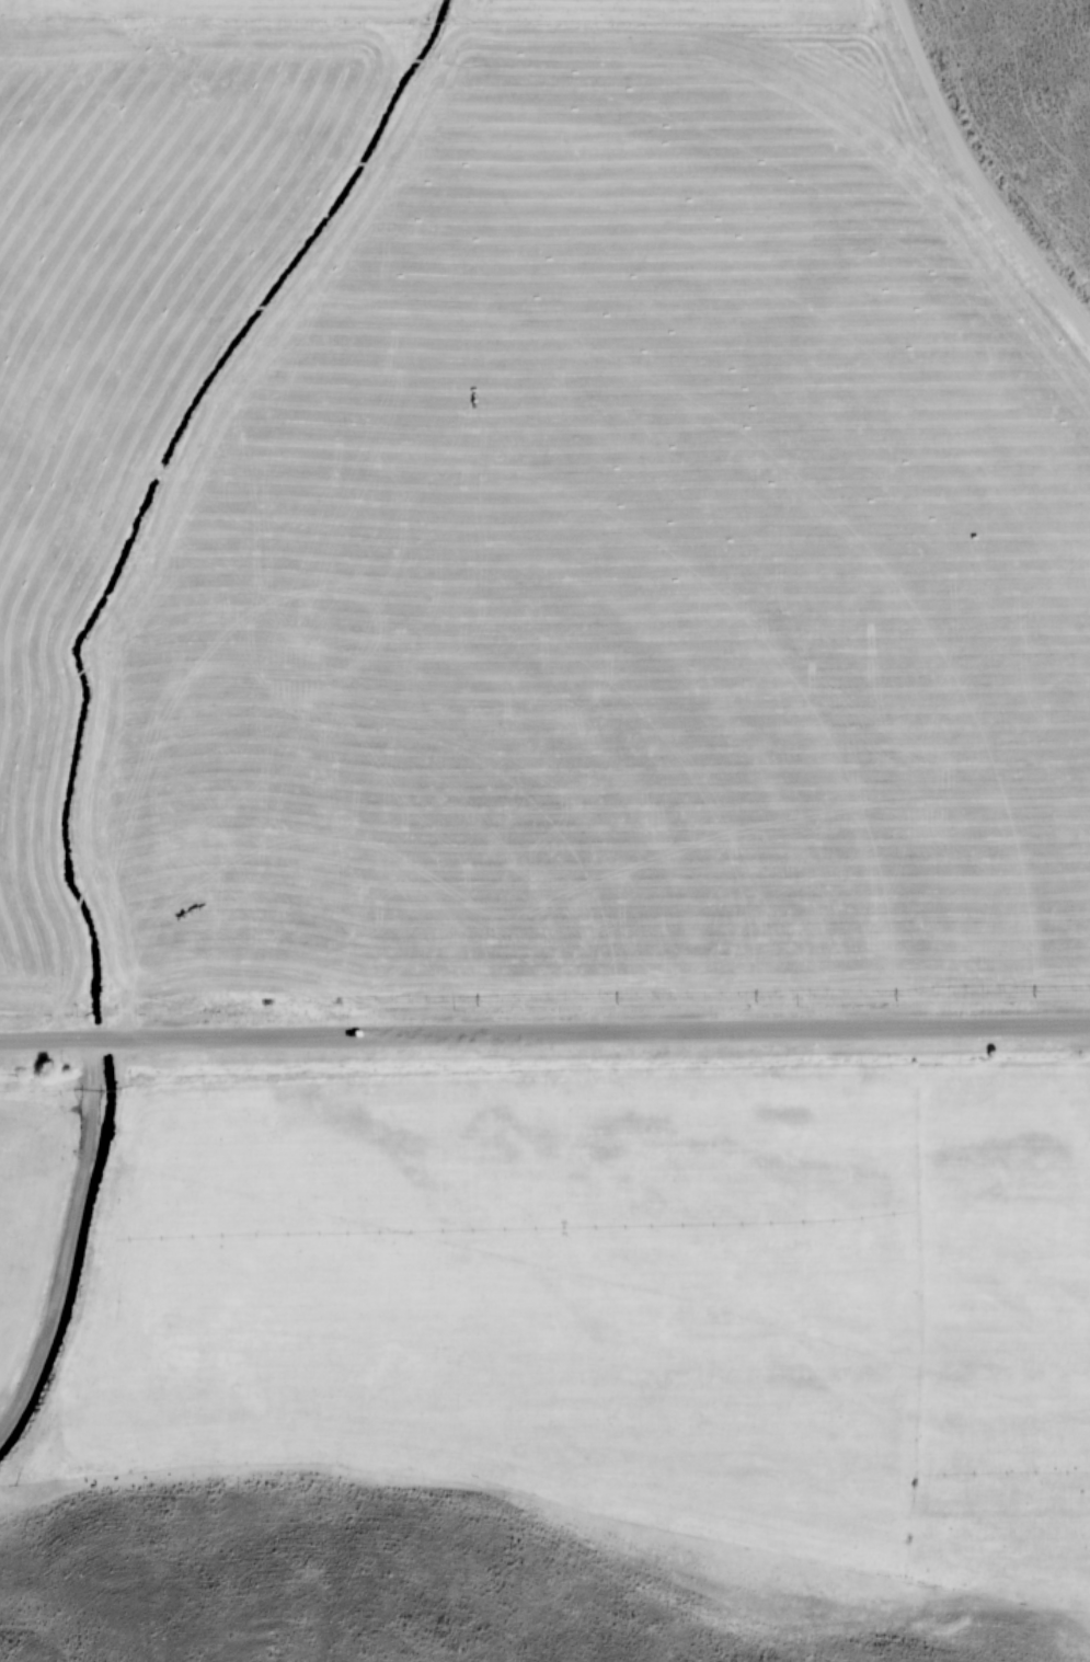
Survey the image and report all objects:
road: (976, 172)
building: (47, 786)
building: (114, 819)
road: (544, 1033)

